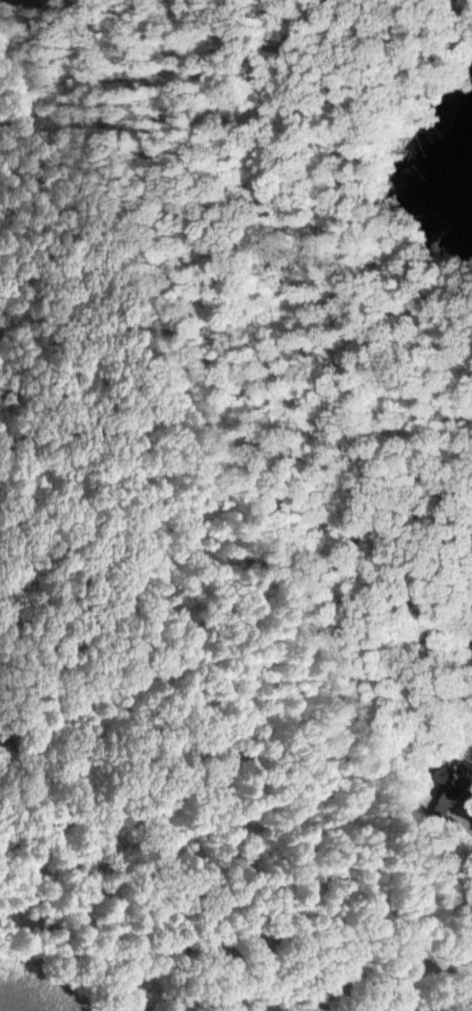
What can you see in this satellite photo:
building: (452, 785)

